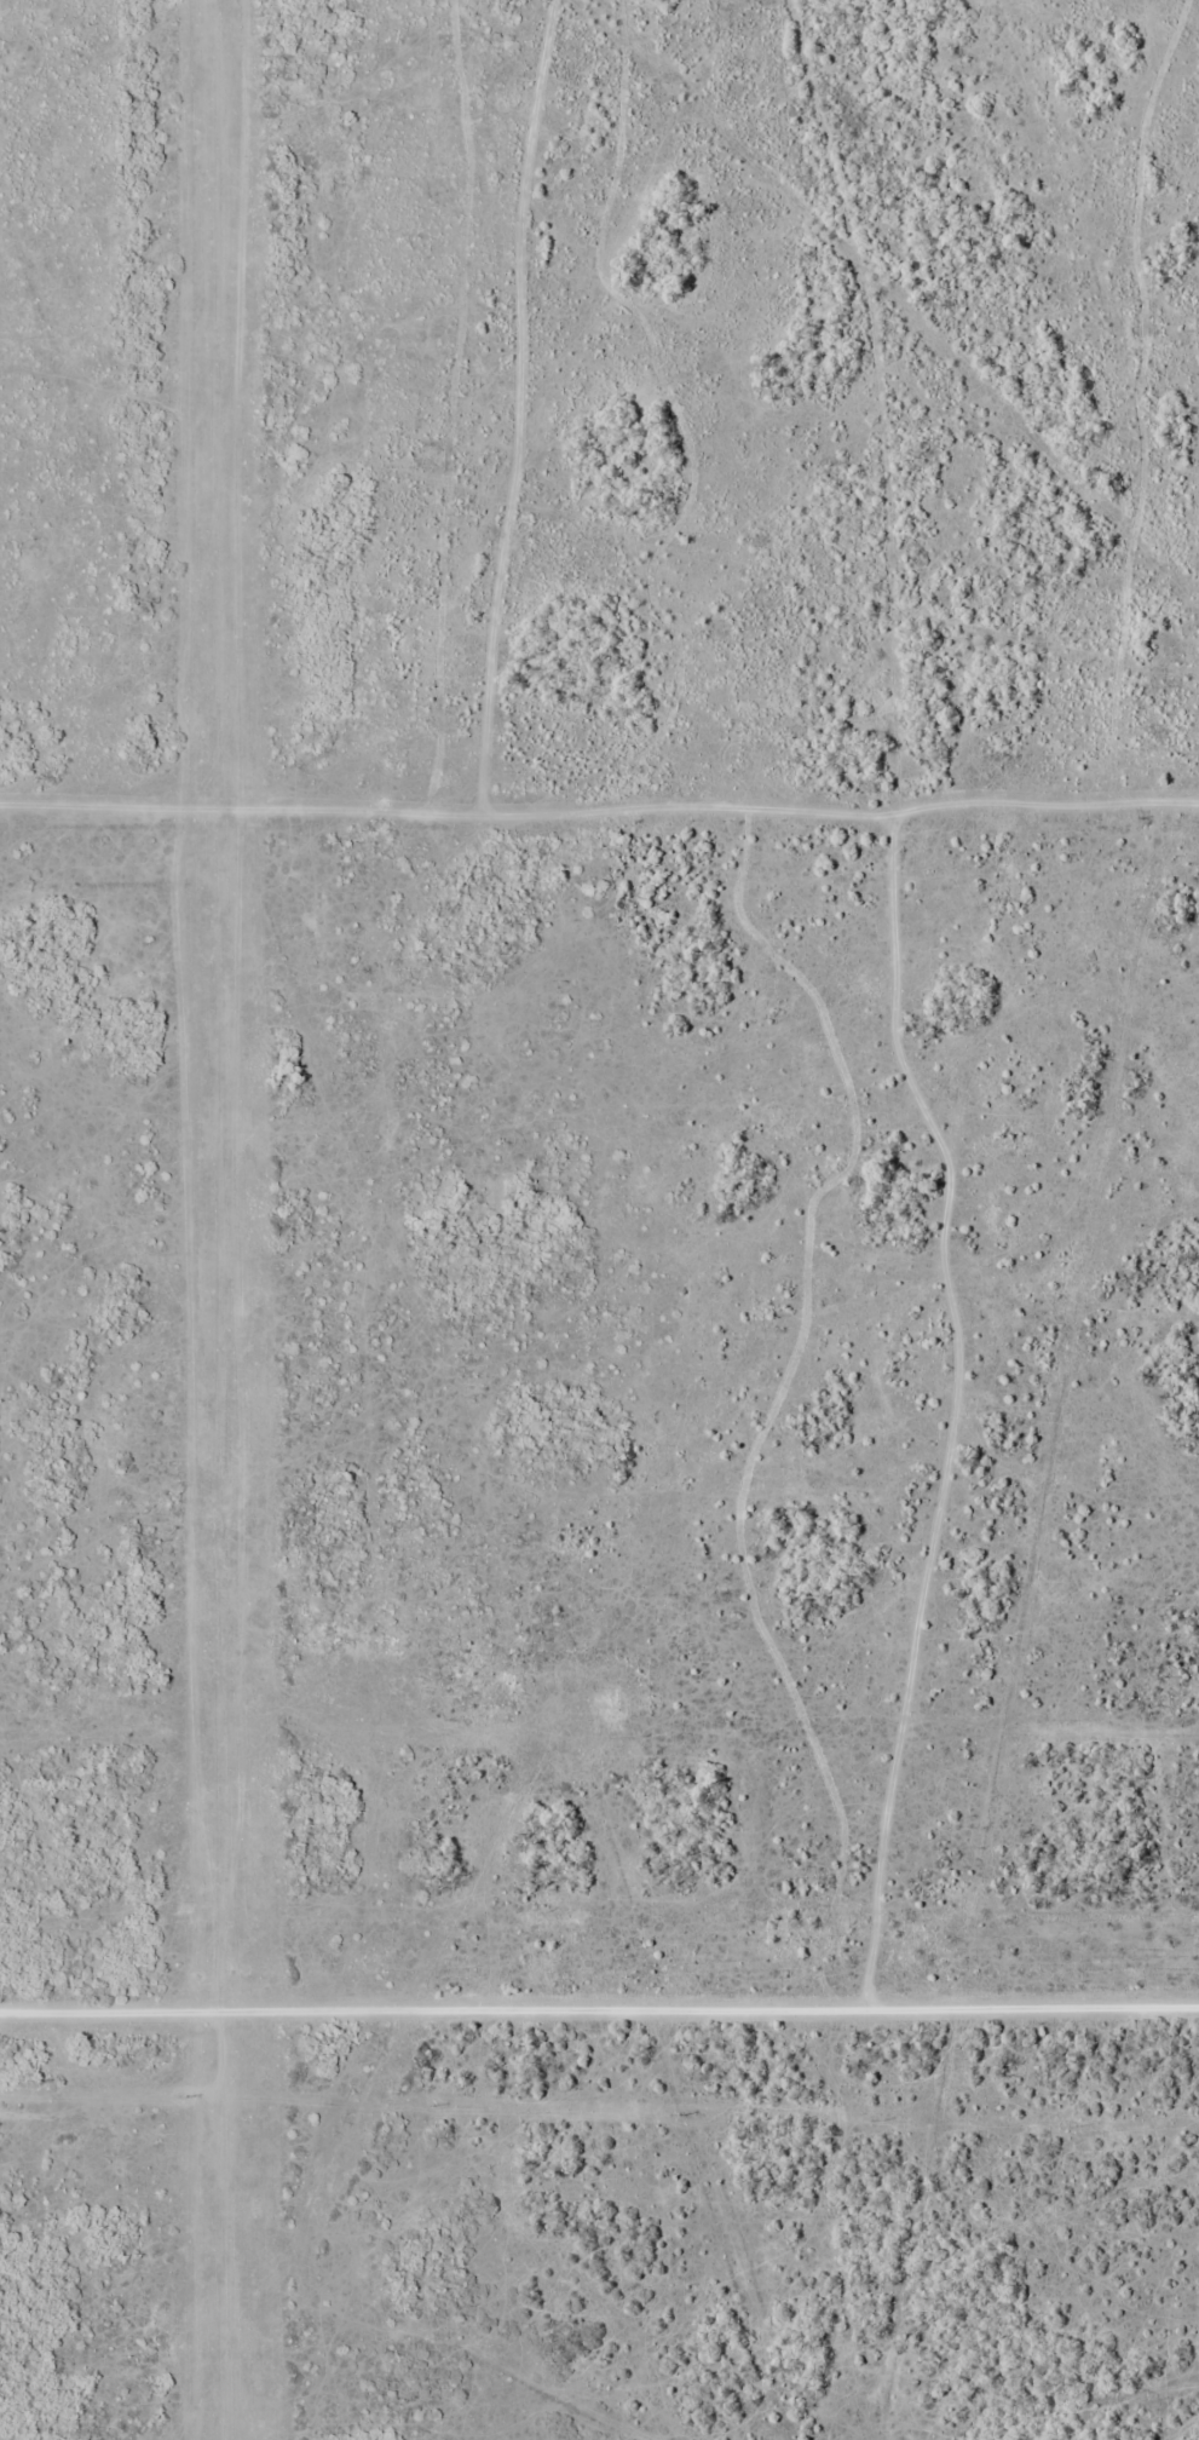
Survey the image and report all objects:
road: (599, 2010)

